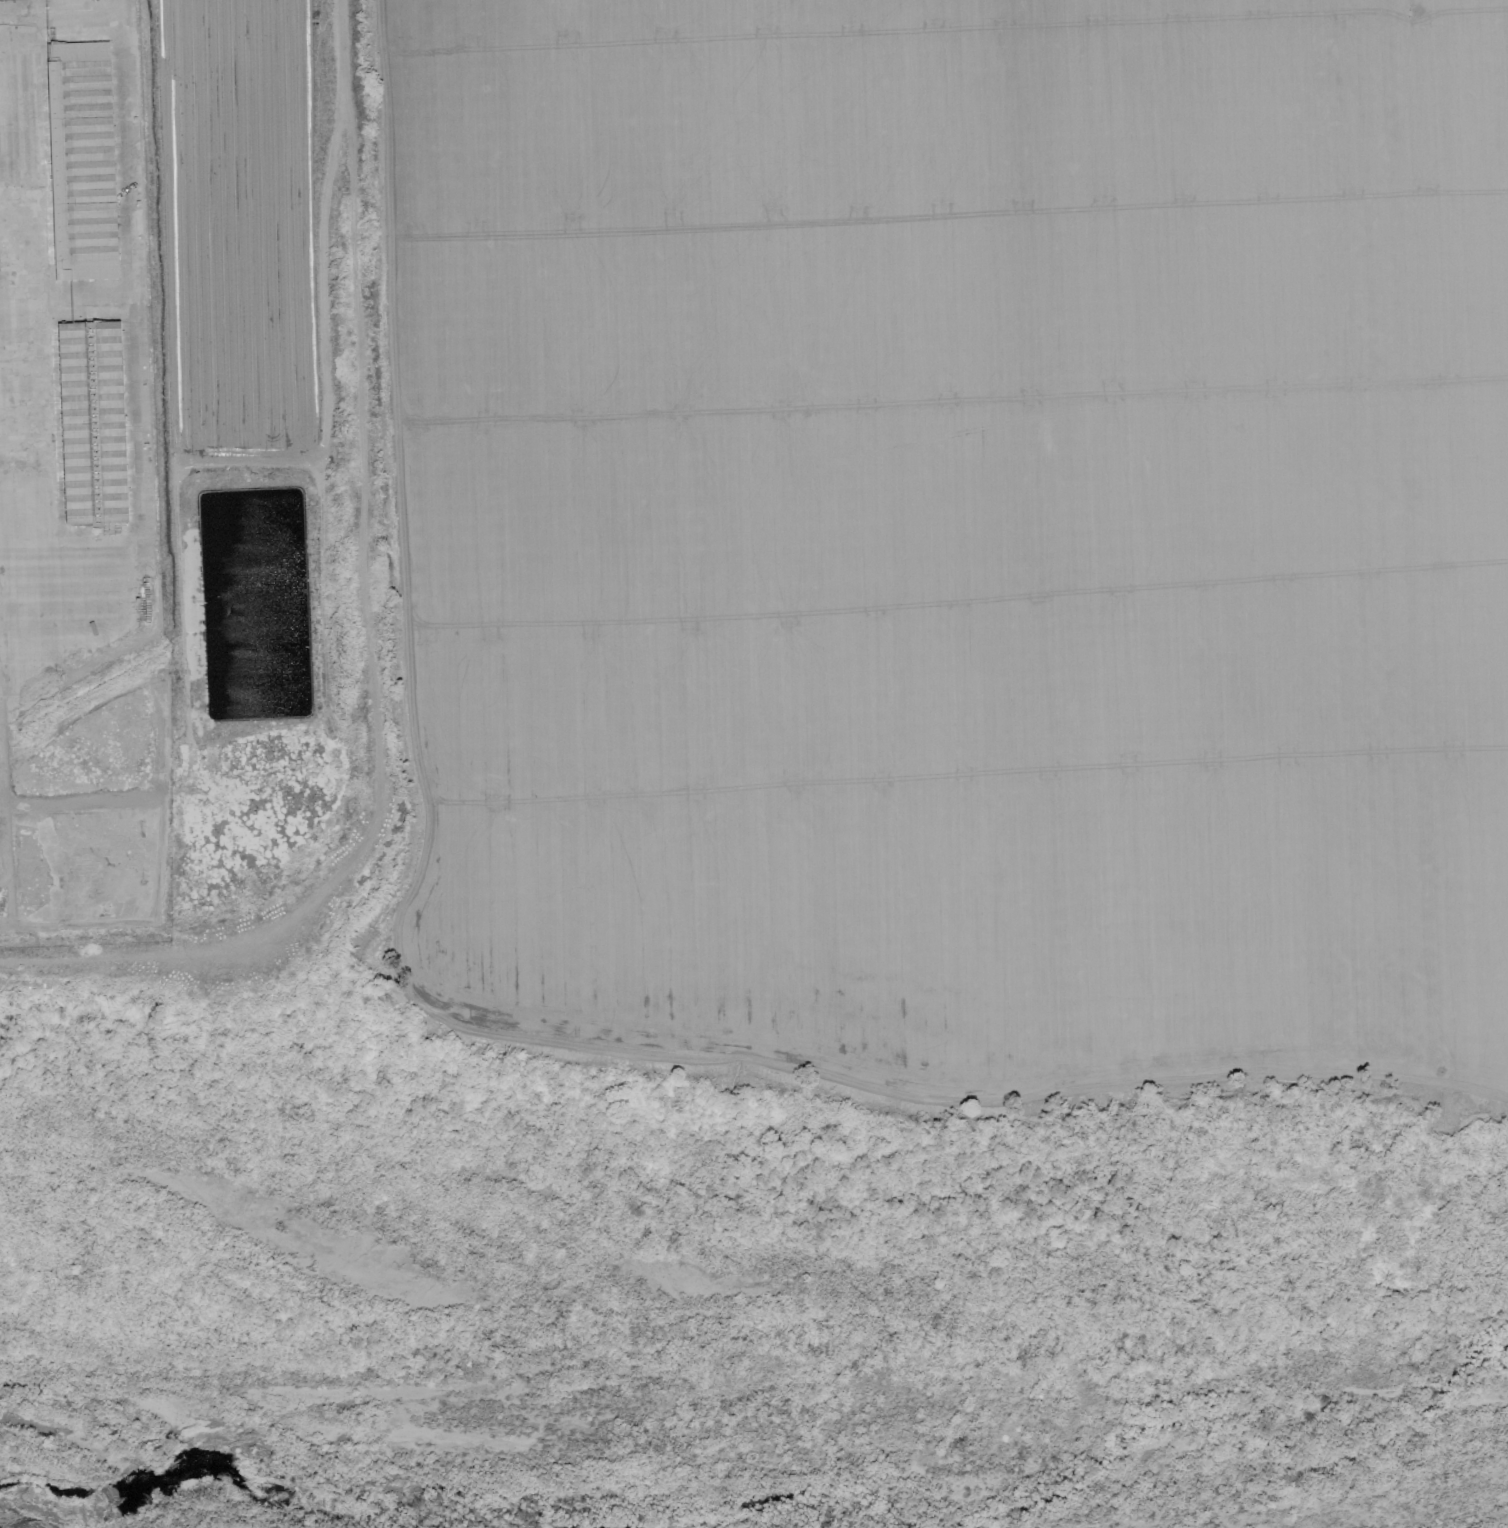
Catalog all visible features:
road: (32, 286)
crop: (776, 527)
road: (369, 626)
road: (0, 896)

